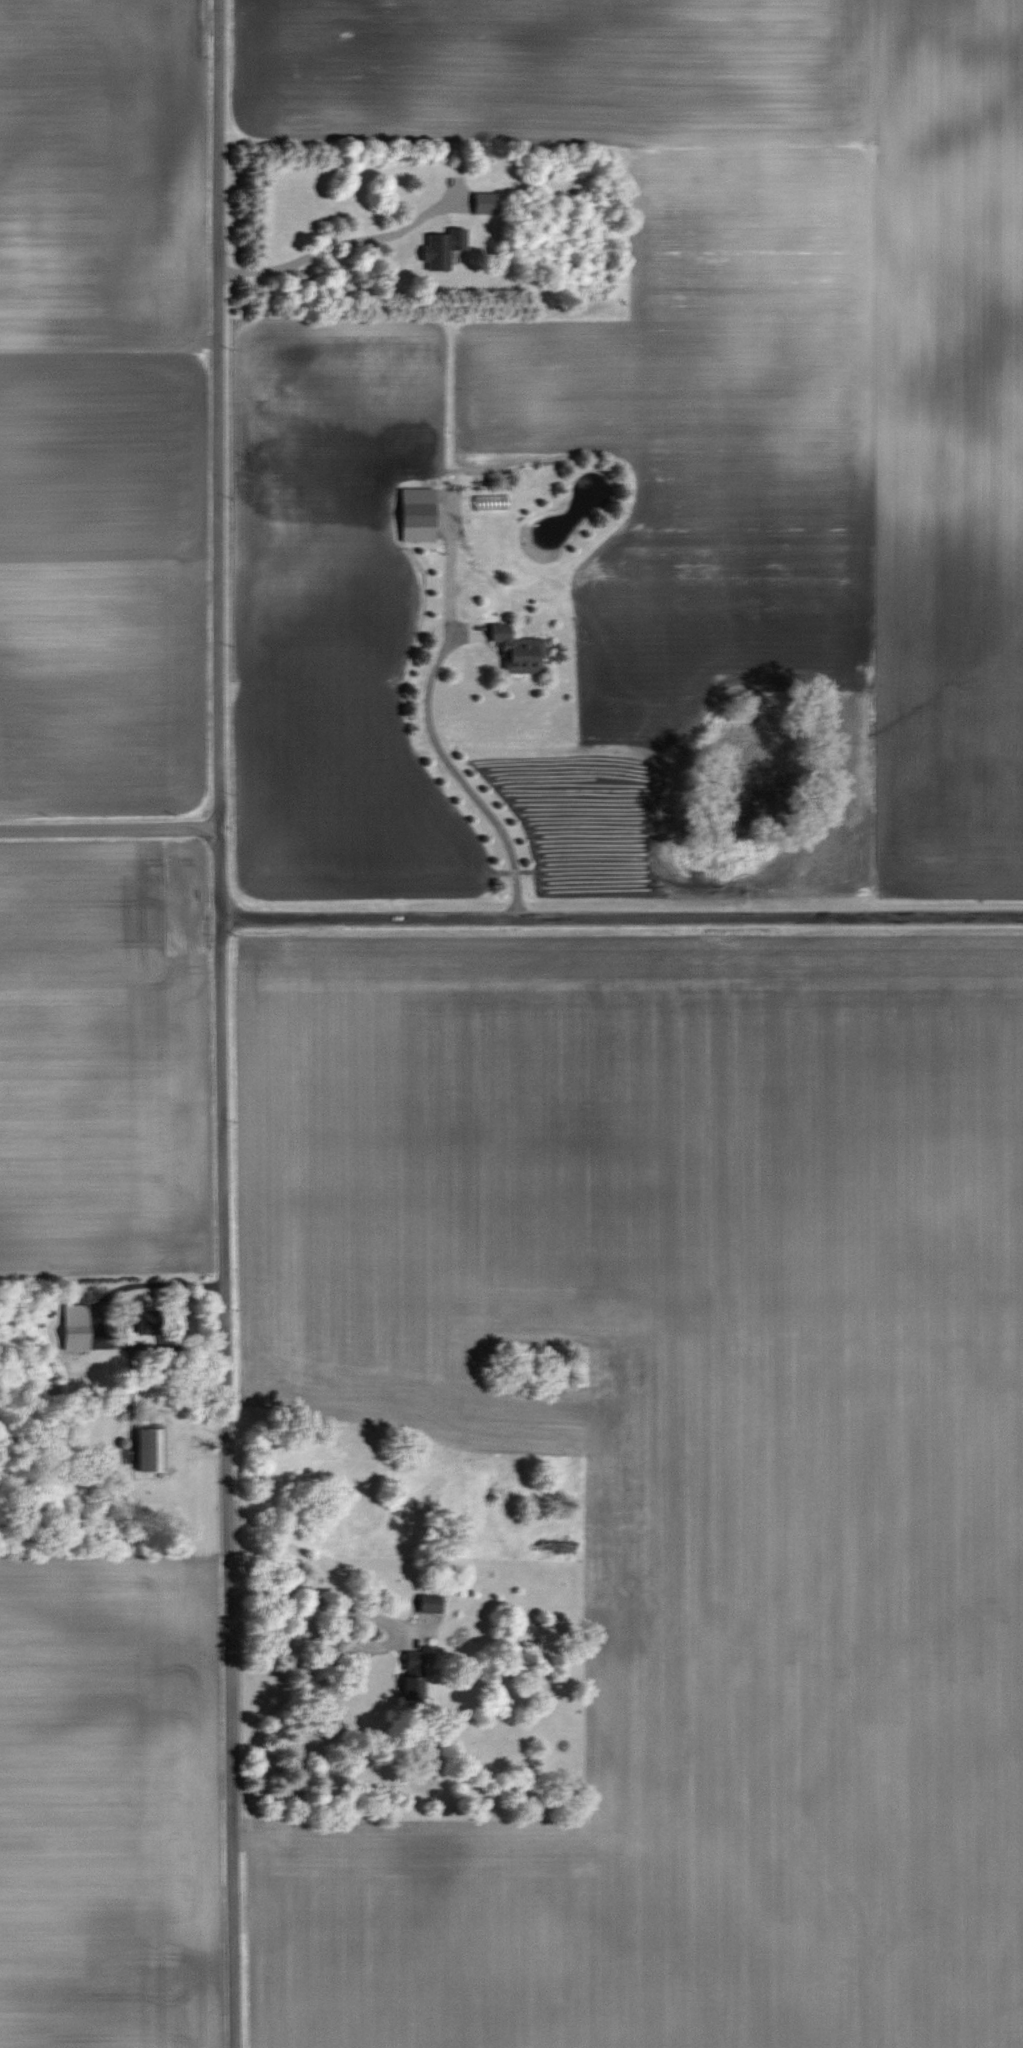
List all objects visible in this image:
building: (486, 202)
road: (342, 234)
building: (442, 247)
building: (376, 381)
building: (415, 513)
building: (518, 653)
road: (465, 768)
road: (109, 829)
road: (621, 920)
road: (221, 1024)
road: (103, 1316)
building: (76, 1327)
building: (150, 1450)
road: (302, 1584)
building: (427, 1603)
building: (411, 1676)

